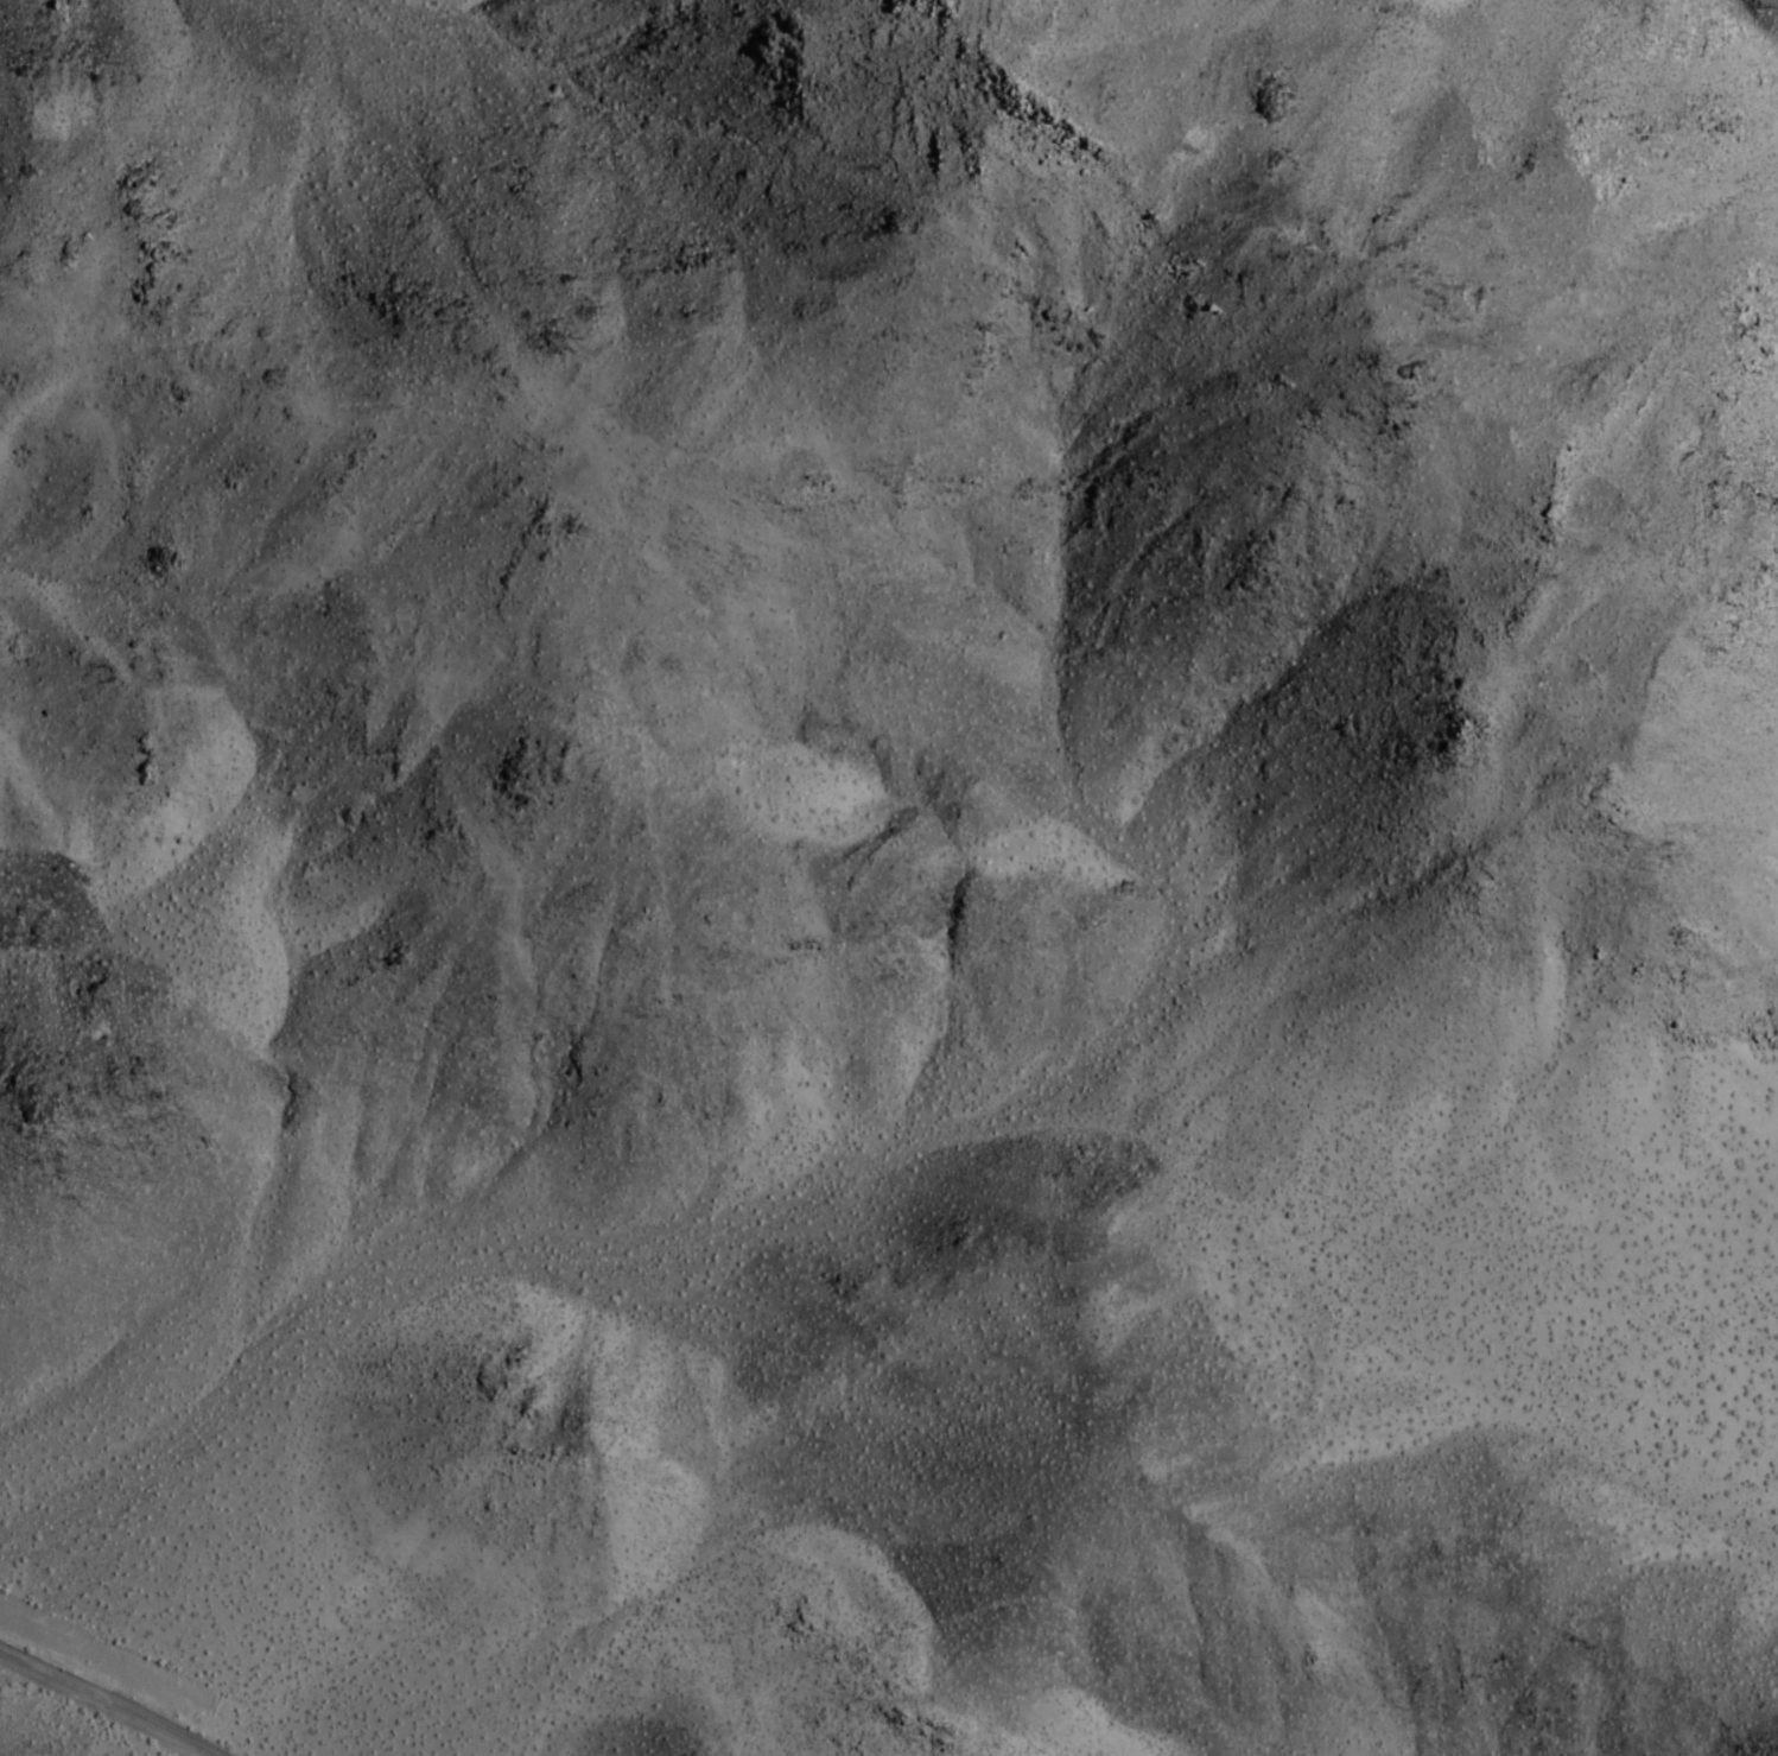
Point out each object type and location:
road: (106, 1704)

